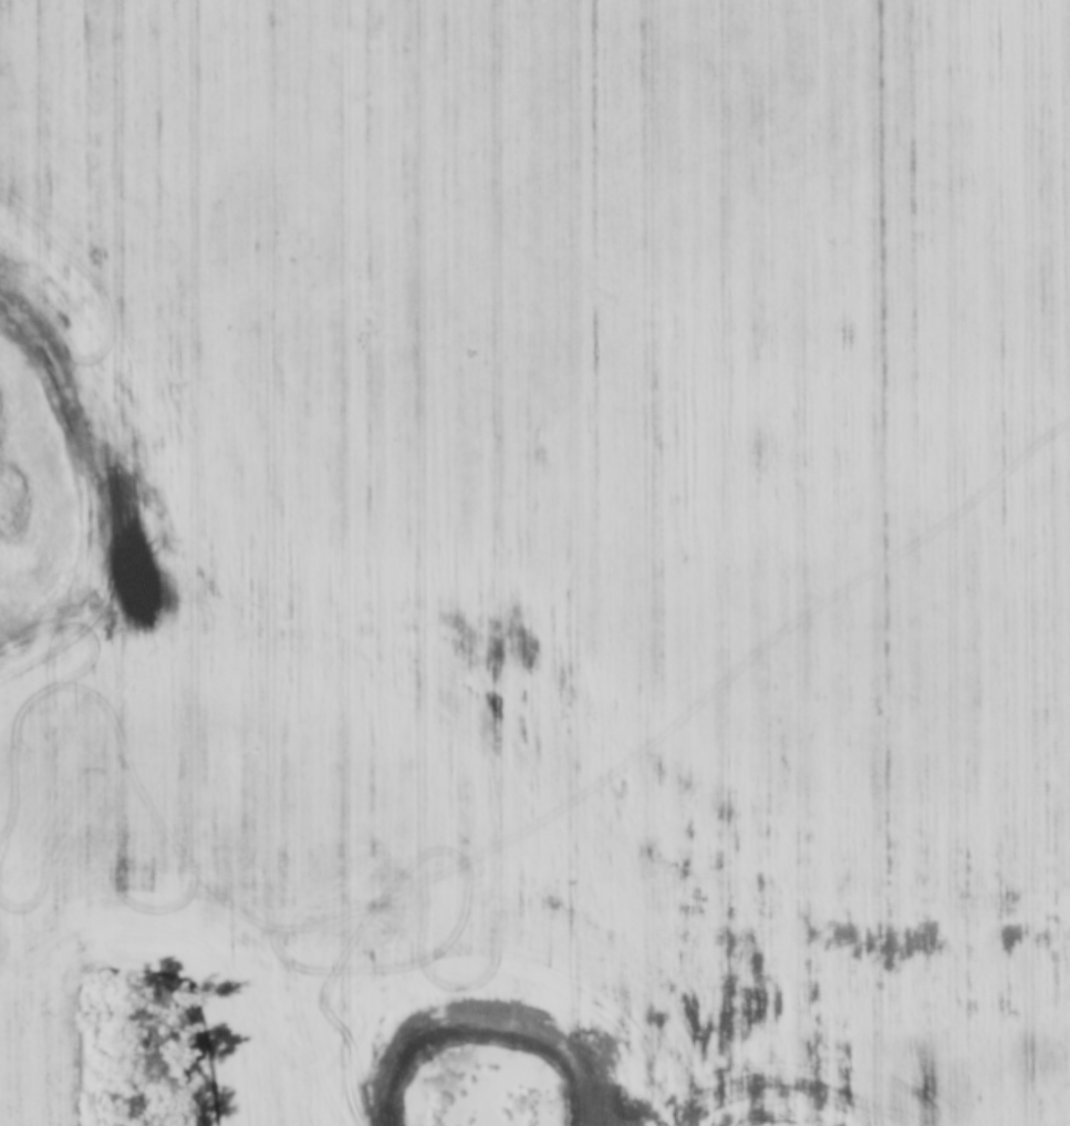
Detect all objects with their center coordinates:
building: (190, 1045)

